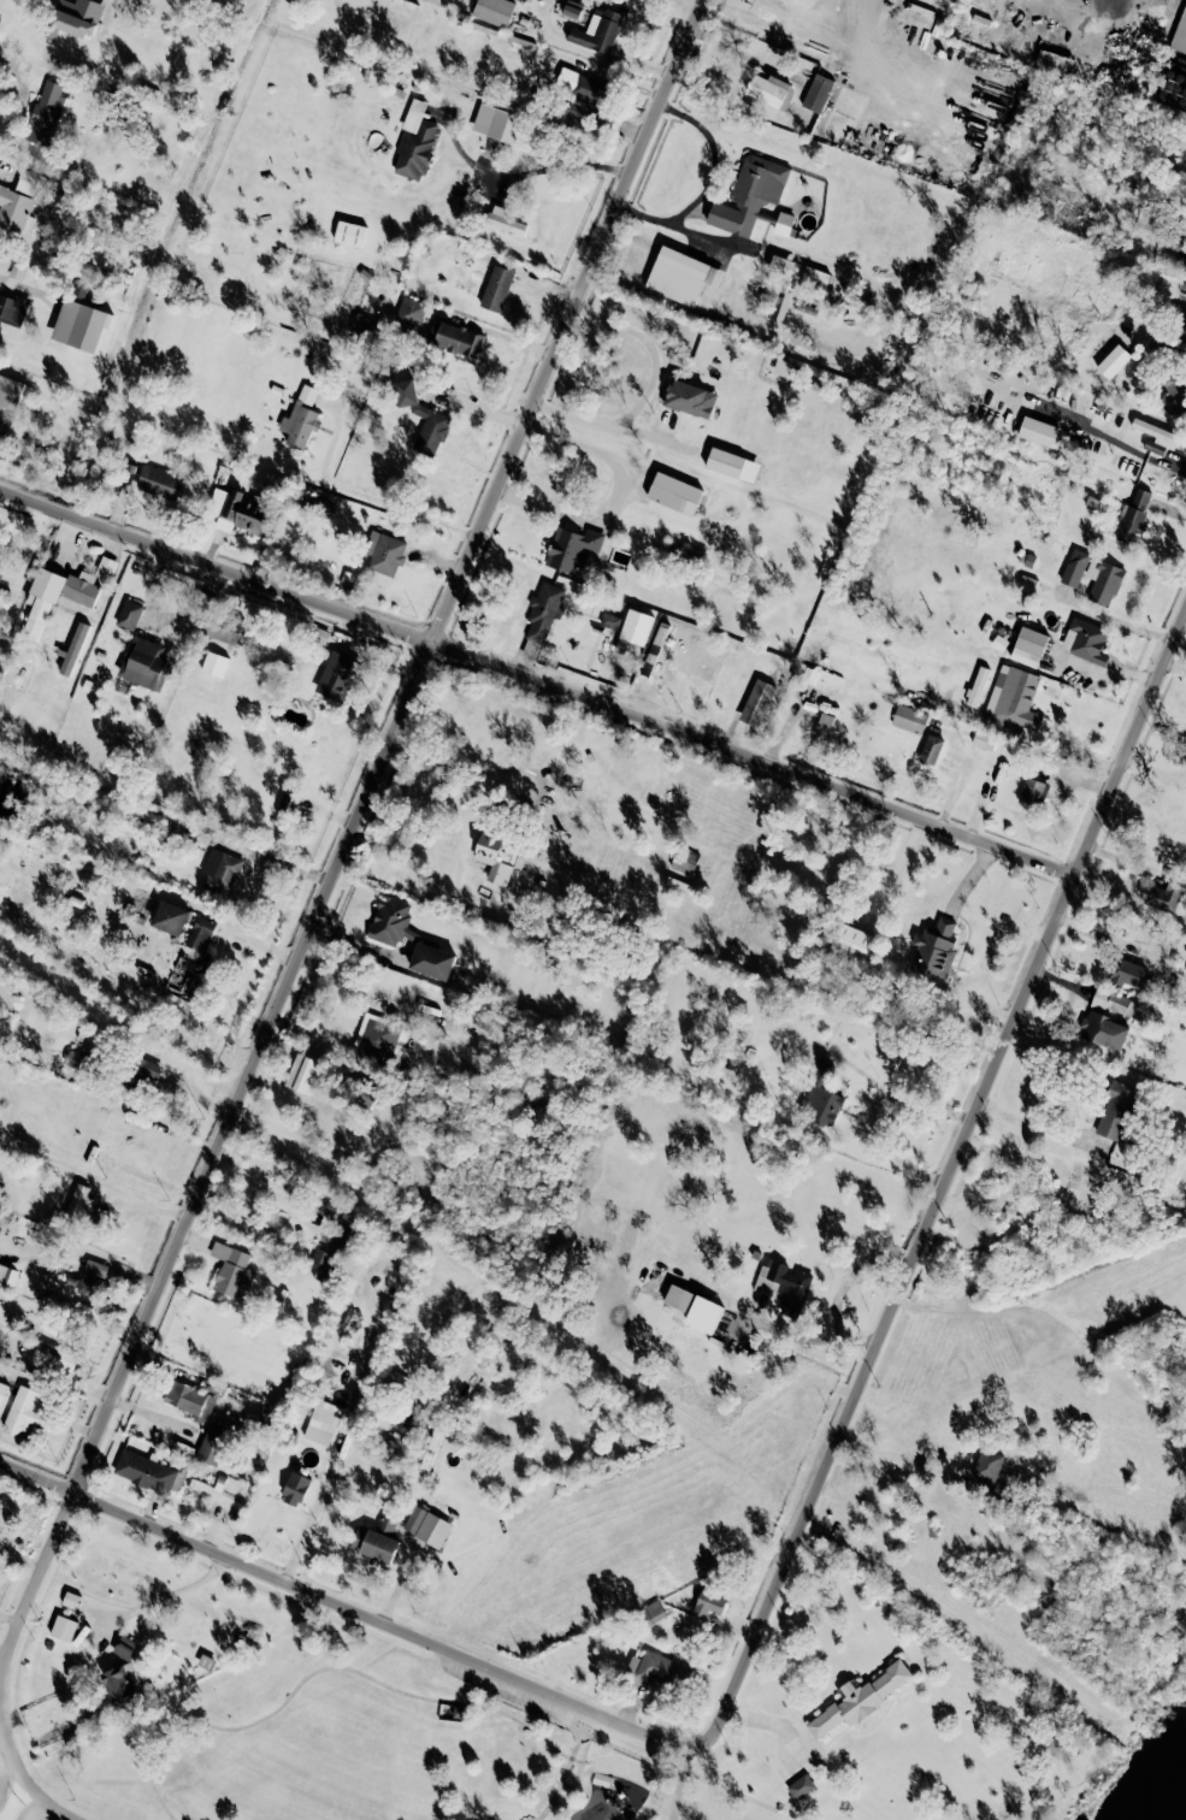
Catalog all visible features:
building: (571, 8)
building: (494, 11)
building: (71, 23)
building: (596, 30)
building: (1181, 35)
building: (582, 85)
building: (769, 90)
building: (818, 93)
building: (578, 110)
building: (47, 111)
building: (496, 123)
building: (413, 142)
building: (29, 182)
building: (749, 194)
building: (16, 211)
building: (503, 220)
building: (783, 223)
road: (691, 230)
building: (349, 234)
building: (683, 277)
building: (496, 288)
road: (39, 300)
building: (12, 307)
building: (409, 312)
road: (1097, 320)
building: (79, 324)
building: (458, 339)
building: (1113, 360)
building: (1173, 390)
building: (10, 391)
building: (690, 398)
building: (423, 416)
building: (300, 418)
road: (609, 425)
building: (1037, 431)
building: (1155, 432)
building: (725, 461)
building: (159, 481)
road: (614, 498)
road: (378, 500)
building: (671, 500)
building: (241, 514)
building: (1132, 516)
building: (571, 548)
building: (384, 552)
building: (1074, 567)
building: (1103, 580)
building: (61, 592)
building: (543, 610)
building: (128, 614)
building: (609, 620)
road: (1119, 620)
building: (635, 626)
building: (229, 633)
building: (1085, 640)
building: (1028, 646)
building: (73, 648)
building: (530, 648)
building: (143, 662)
building: (335, 675)
road: (538, 678)
building: (976, 686)
building: (1013, 696)
building: (761, 704)
building: (827, 715)
building: (908, 717)
road: (804, 721)
building: (984, 739)
road: (1057, 740)
building: (930, 750)
road: (1153, 770)
road: (473, 772)
building: (1033, 791)
building: (283, 803)
road: (350, 832)
road: (259, 855)
building: (496, 857)
building: (684, 861)
building: (219, 870)
building: (1163, 894)
building: (170, 917)
building: (390, 921)
building: (200, 933)
road: (1093, 934)
building: (851, 941)
road: (358, 942)
building: (933, 950)
building: (432, 961)
building: (1129, 973)
building: (1113, 1001)
building: (1104, 1030)
building: (379, 1040)
road: (858, 1069)
building: (302, 1074)
building: (819, 1097)
road: (874, 1105)
building: (1115, 1110)
road: (1029, 1124)
road: (73, 1172)
road: (946, 1174)
road: (262, 1186)
building: (78, 1198)
building: (331, 1248)
building: (95, 1267)
building: (231, 1270)
building: (7, 1272)
building: (781, 1281)
building: (89, 1286)
building: (694, 1307)
road: (810, 1339)
building: (54, 1358)
building: (184, 1397)
building: (25, 1412)
building: (323, 1422)
building: (211, 1448)
road: (899, 1458)
building: (989, 1466)
building: (144, 1471)
building: (296, 1488)
building: (2, 1506)
building: (426, 1526)
road: (305, 1527)
building: (373, 1540)
road: (165, 1597)
building: (70, 1599)
building: (710, 1603)
road: (353, 1612)
building: (651, 1613)
building: (63, 1627)
building: (656, 1666)
building: (119, 1684)
road: (380, 1684)
parking lot: (507, 1689)
road: (490, 1690)
building: (861, 1701)
road: (573, 1730)
parking lot: (629, 1742)
park: (355, 1745)
road: (566, 1768)
road: (17, 1773)
road: (678, 1783)
building: (799, 1786)
road: (574, 1789)

